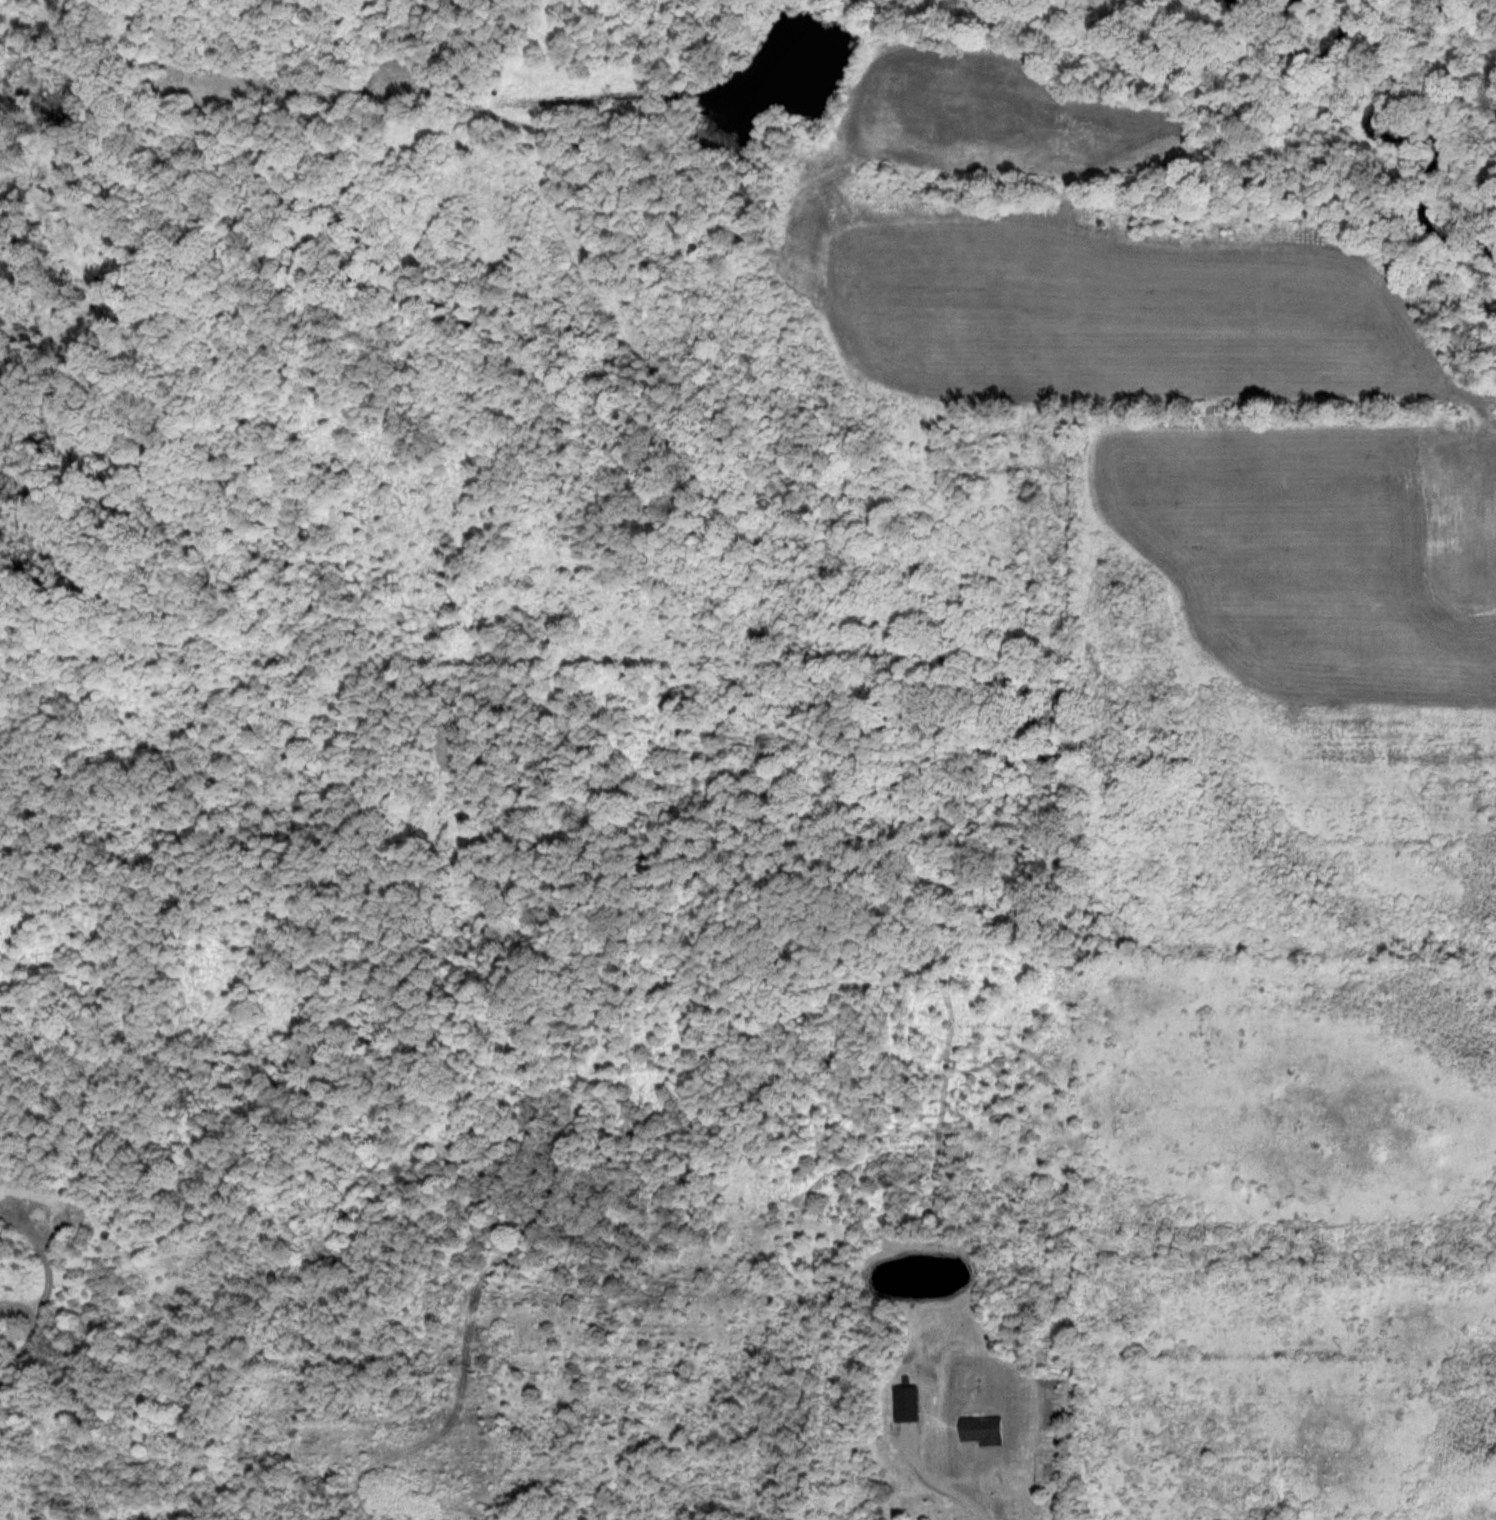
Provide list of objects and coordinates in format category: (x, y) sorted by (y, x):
building: (911, 1405)
building: (987, 1432)
road: (946, 1484)

